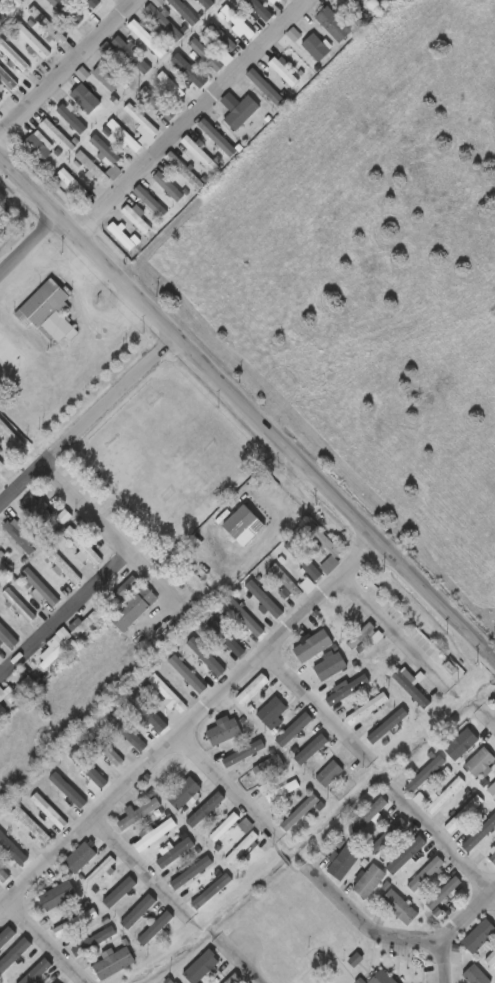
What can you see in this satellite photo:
building: (274, 0)
building: (369, 0)
building: (277, 1)
building: (19, 2)
building: (91, 3)
building: (210, 3)
road: (371, 7)
building: (186, 11)
building: (68, 12)
building: (2, 18)
building: (166, 22)
building: (237, 23)
building: (333, 25)
building: (50, 26)
building: (222, 37)
building: (149, 38)
building: (30, 41)
building: (315, 48)
building: (14, 55)
building: (134, 55)
building: (208, 56)
road: (67, 67)
building: (280, 71)
building: (192, 72)
building: (111, 77)
building: (8, 78)
building: (263, 88)
building: (57, 96)
building: (1, 100)
building: (85, 100)
building: (160, 103)
building: (241, 113)
building: (141, 118)
road: (186, 119)
building: (68, 124)
building: (39, 148)
building: (109, 157)
building: (197, 160)
building: (74, 184)
building: (169, 185)
building: (152, 201)
building: (138, 220)
building: (120, 234)
road: (26, 247)
building: (50, 312)
road: (247, 414)
road: (84, 420)
building: (11, 436)
building: (0, 461)
building: (40, 511)
building: (248, 524)
road: (267, 533)
building: (19, 535)
road: (109, 538)
building: (85, 546)
building: (331, 549)
building: (300, 559)
building: (5, 563)
building: (66, 565)
building: (282, 581)
building: (0, 583)
building: (42, 586)
building: (114, 596)
building: (267, 599)
building: (21, 604)
building: (135, 607)
road: (63, 616)
building: (247, 616)
building: (1, 619)
building: (88, 621)
road: (393, 629)
building: (4, 634)
building: (361, 638)
building: (3, 639)
building: (312, 646)
building: (374, 653)
building: (206, 656)
building: (332, 666)
building: (189, 674)
building: (409, 685)
building: (345, 688)
building: (255, 689)
building: (19, 691)
building: (170, 692)
road: (312, 702)
building: (365, 706)
building: (2, 709)
road: (494, 710)
building: (274, 711)
building: (147, 714)
road: (186, 722)
building: (385, 723)
building: (292, 727)
building: (226, 730)
building: (128, 735)
building: (456, 739)
building: (110, 751)
building: (247, 753)
building: (477, 761)
building: (272, 767)
building: (91, 770)
building: (423, 773)
building: (328, 774)
road: (229, 779)
building: (208, 789)
building: (491, 790)
building: (441, 795)
building: (186, 797)
building: (50, 810)
building: (140, 813)
building: (297, 813)
building: (461, 814)
building: (364, 816)
building: (369, 817)
building: (221, 822)
building: (32, 825)
building: (225, 829)
building: (477, 833)
building: (385, 835)
road: (443, 837)
building: (13, 848)
building: (243, 849)
building: (176, 853)
building: (491, 853)
building: (403, 854)
building: (83, 855)
road: (141, 856)
building: (340, 861)
building: (100, 873)
building: (423, 873)
building: (3, 876)
building: (367, 881)
building: (210, 890)
building: (441, 892)
building: (59, 895)
building: (396, 906)
building: (76, 921)
road: (453, 929)
road: (367, 930)
road: (44, 937)
building: (479, 937)
building: (93, 940)
building: (490, 959)
building: (116, 963)
road: (252, 966)
building: (205, 967)
building: (38, 973)
building: (474, 975)
building: (379, 978)
building: (236, 979)
building: (170, 980)

